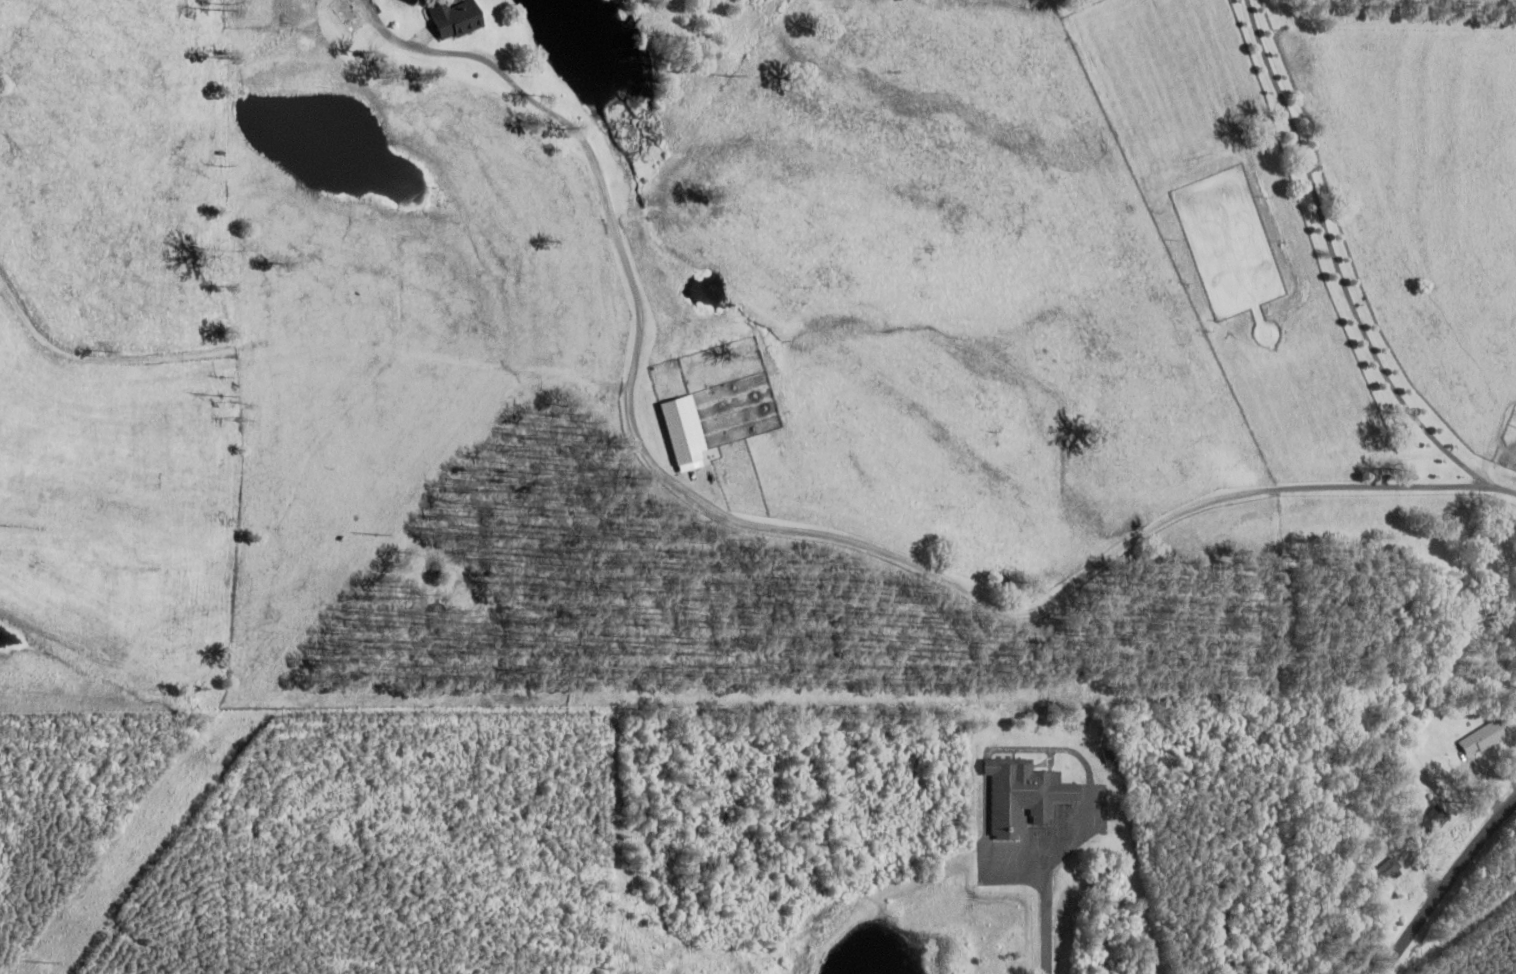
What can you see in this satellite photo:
building: (350, 15)
building: (455, 18)
road: (1390, 271)
road: (891, 554)
building: (1481, 741)
building: (1110, 759)
building: (1021, 797)
building: (1430, 824)
building: (1385, 871)
road: (1449, 887)
road: (1045, 909)

